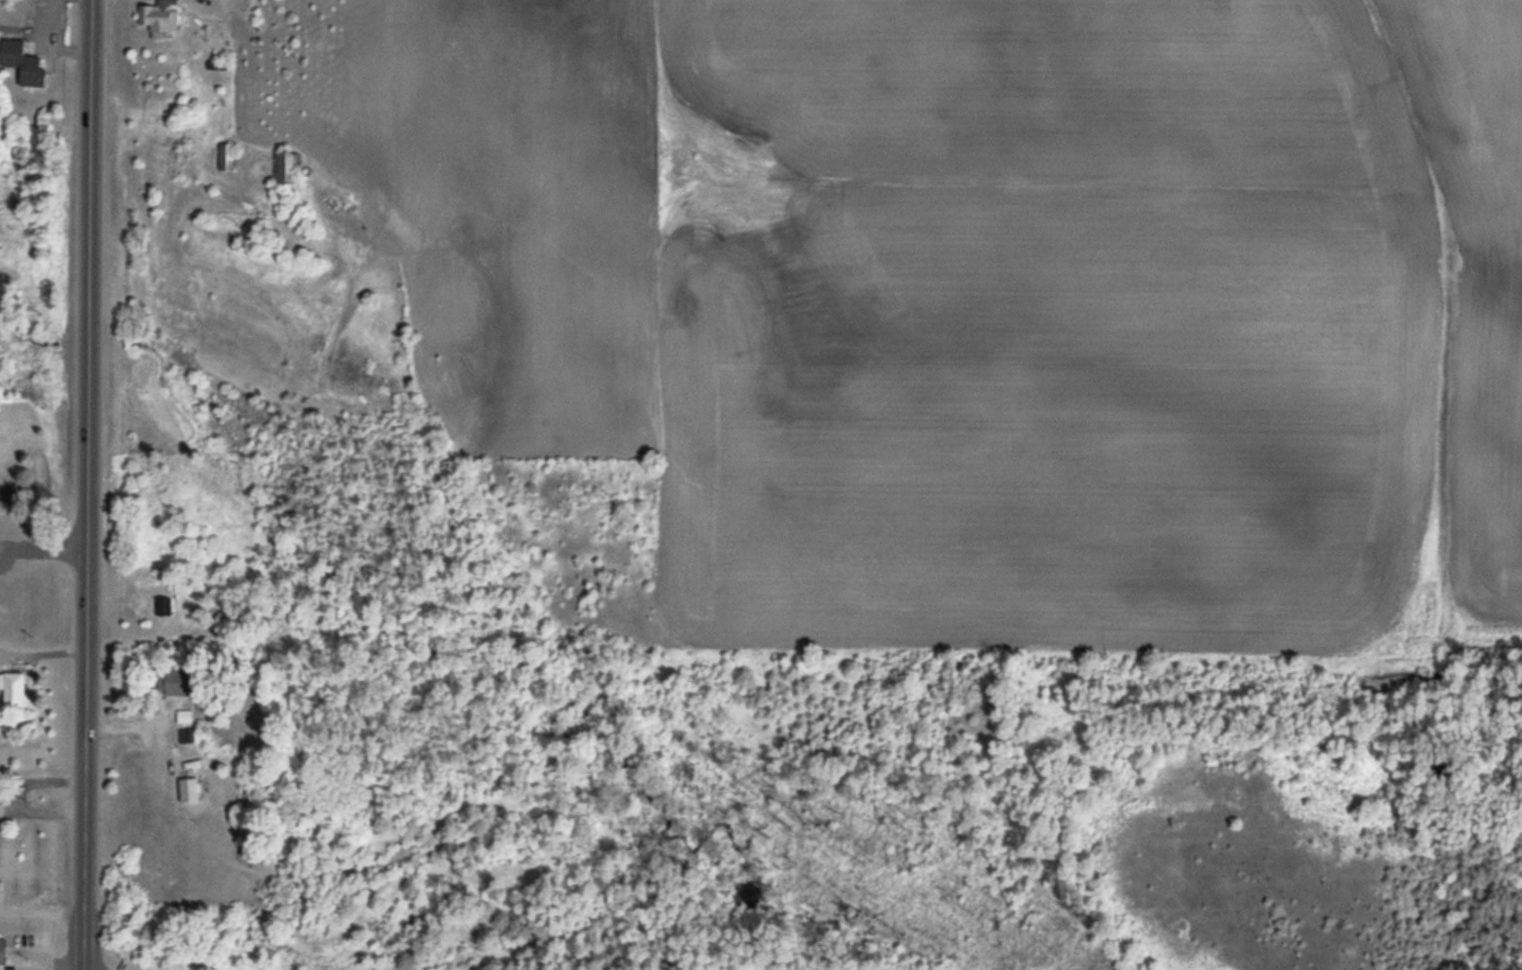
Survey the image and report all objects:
building: (164, 18)
building: (25, 63)
building: (227, 156)
building: (286, 168)
building: (10, 477)
road: (87, 485)
road: (43, 554)
building: (18, 690)
building: (3, 952)

